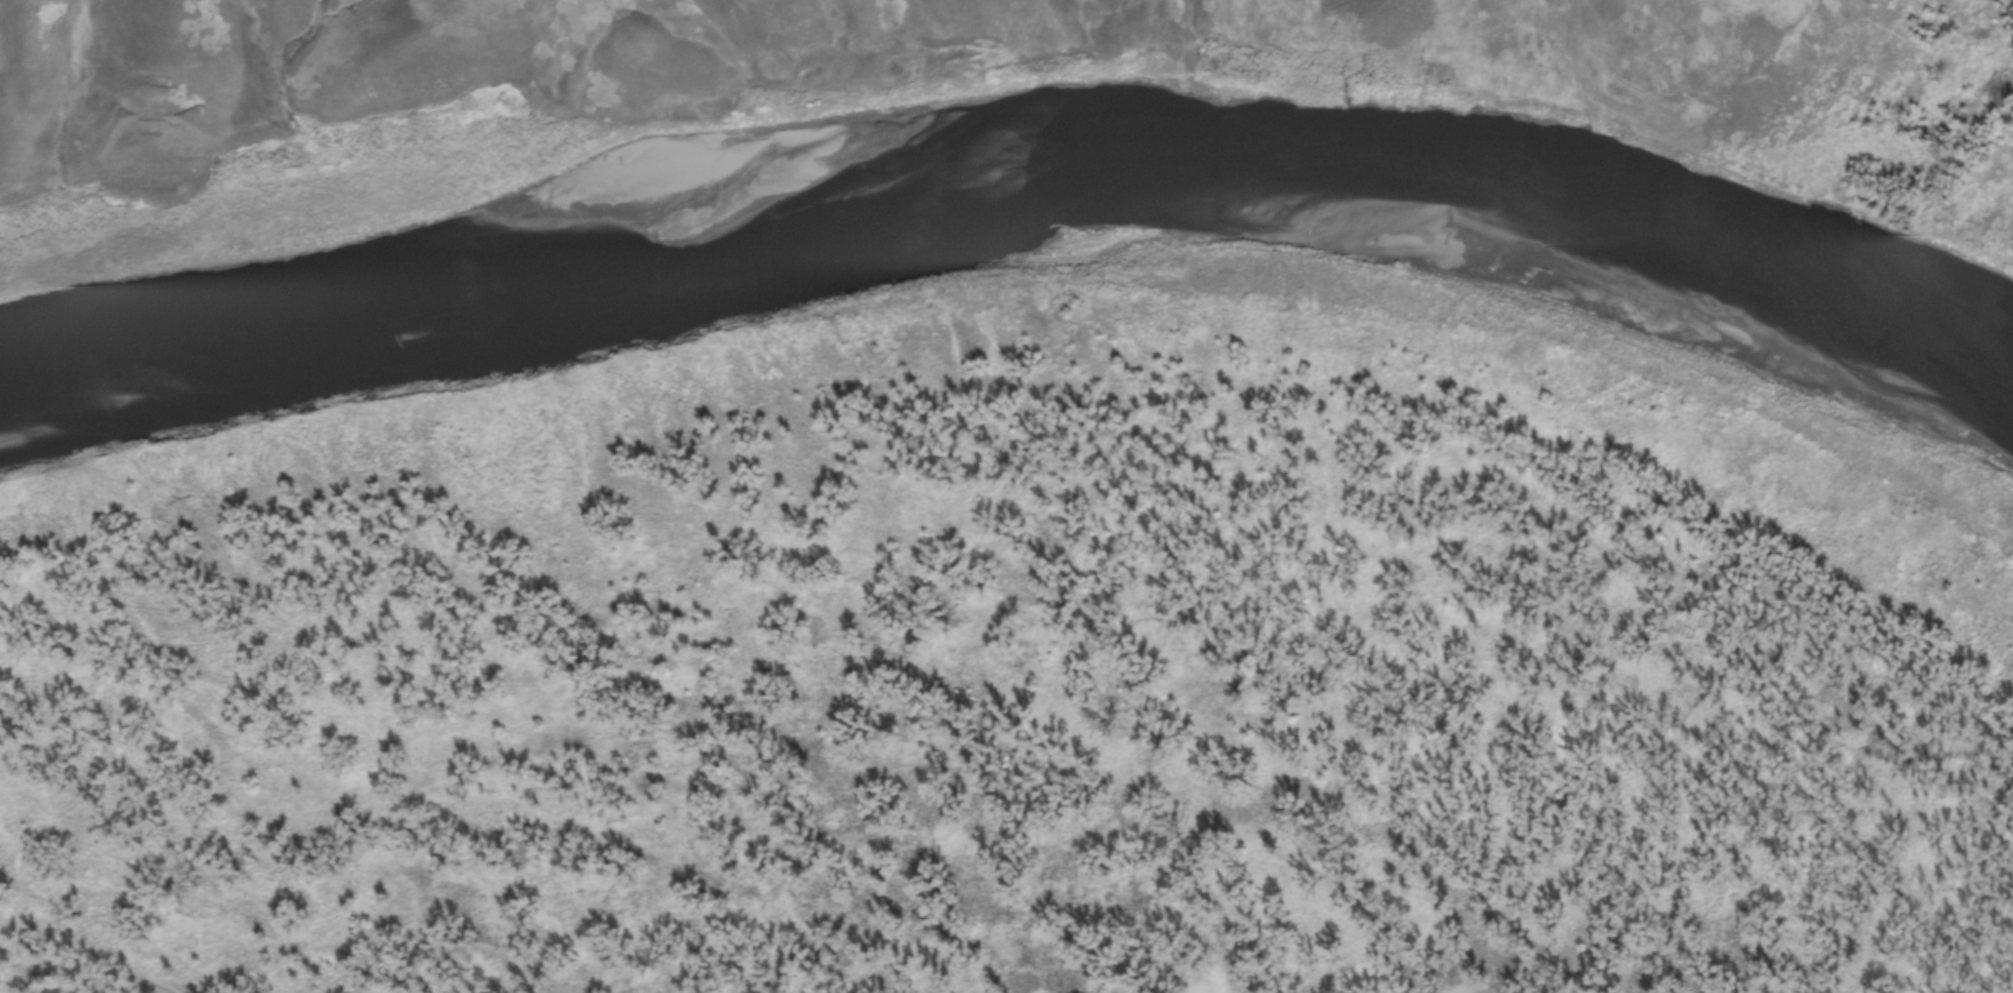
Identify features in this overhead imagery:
river: (1000, 142)

